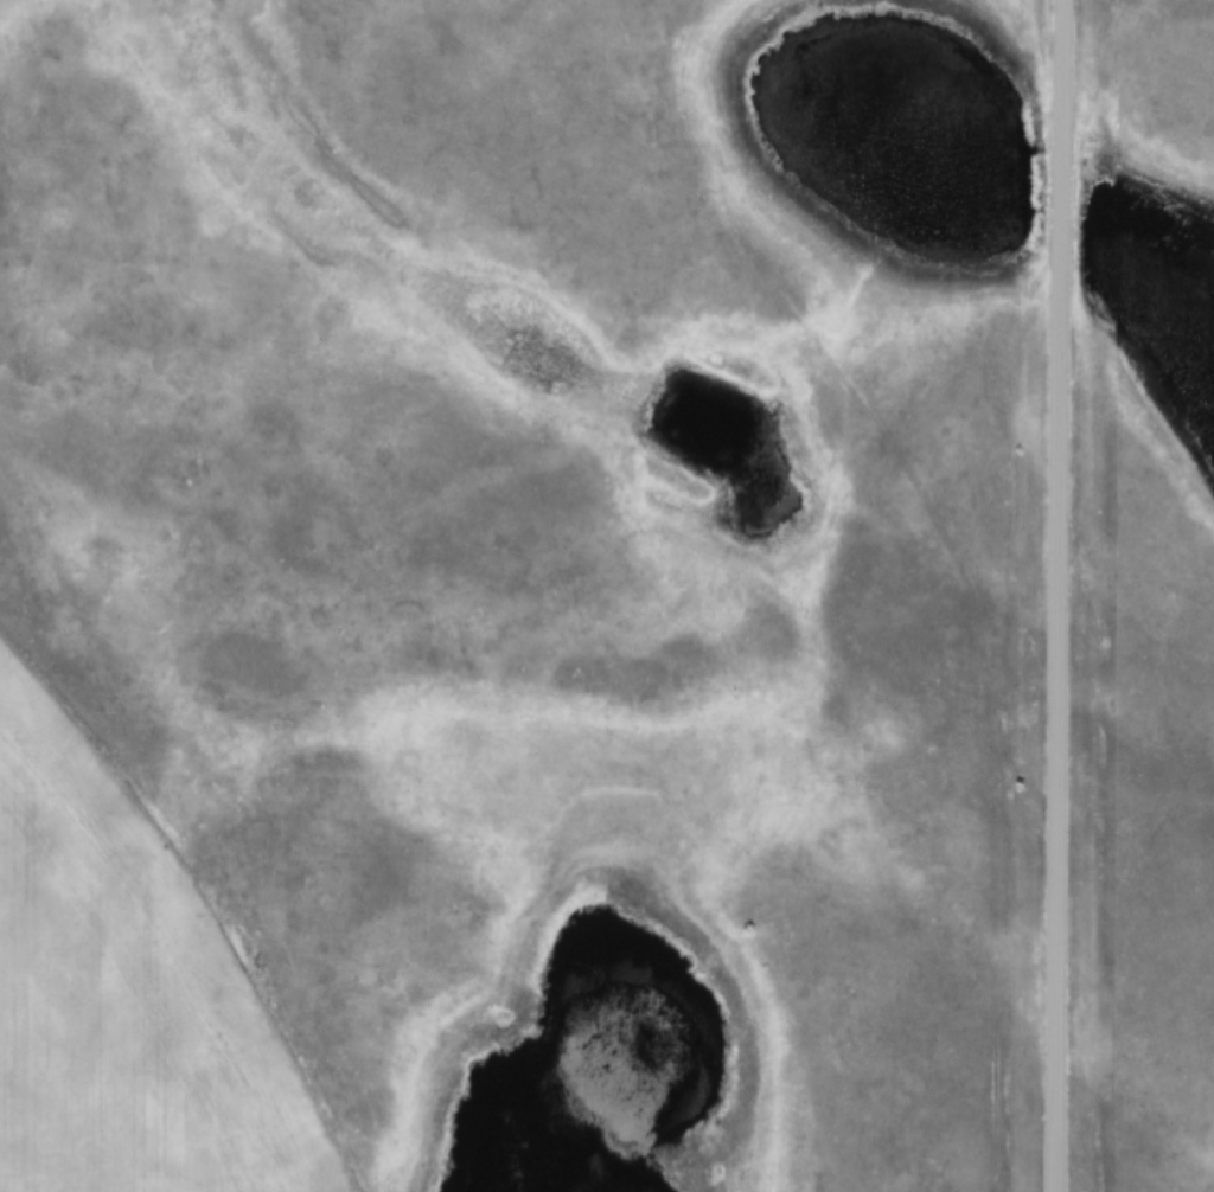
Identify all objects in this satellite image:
building: (1058, 549)
road: (1060, 595)

